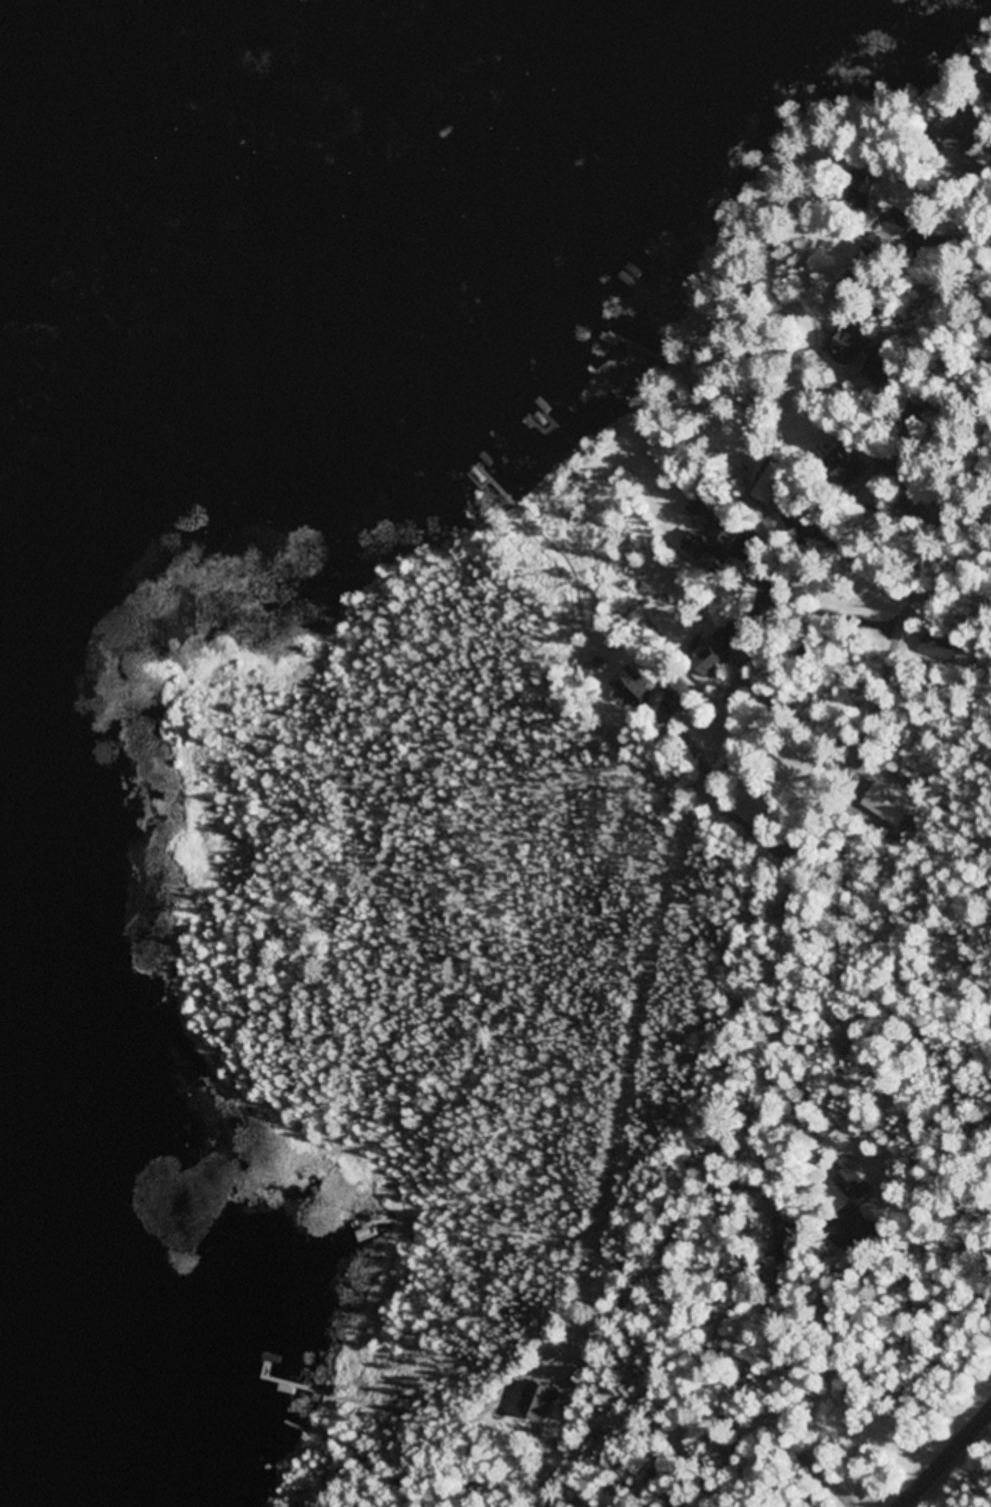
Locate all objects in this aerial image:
building: (960, 135)
building: (863, 189)
river: (372, 253)
road: (980, 299)
building: (850, 350)
road: (872, 395)
building: (847, 465)
building: (772, 486)
building: (712, 546)
building: (728, 638)
building: (939, 649)
building: (709, 660)
building: (638, 691)
road: (890, 728)
building: (539, 1402)
road: (944, 1457)

